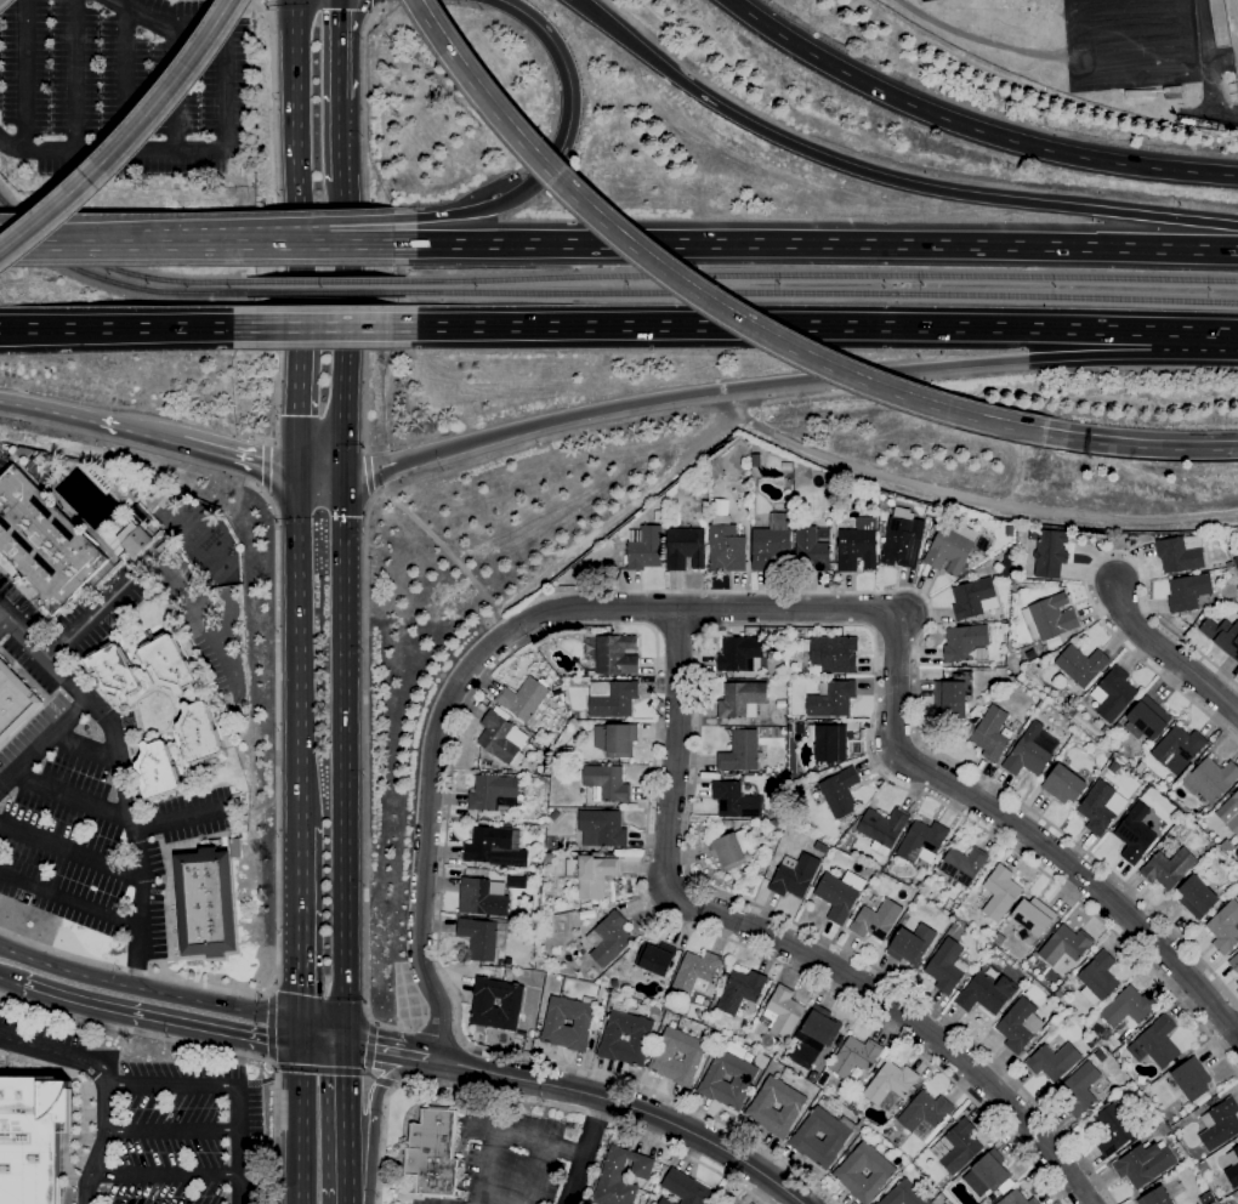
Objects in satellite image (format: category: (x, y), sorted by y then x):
road: (262, 1)
road: (377, 4)
stadium: (1232, 34)
road: (336, 49)
road: (27, 73)
road: (75, 73)
road: (125, 76)
road: (569, 85)
parking lot: (127, 86)
road: (174, 87)
building: (1172, 87)
building: (1188, 120)
road: (971, 127)
road: (296, 132)
road: (130, 138)
road: (336, 138)
road: (225, 144)
road: (884, 177)
traffic signals: (530, 187)
road: (462, 211)
road: (234, 223)
road: (274, 226)
road: (364, 234)
road: (235, 243)
road: (10, 244)
road: (50, 244)
road: (814, 244)
railway: (112, 269)
road: (336, 272)
railway: (816, 276)
railway: (318, 280)
road: (687, 282)
railway: (113, 283)
railway: (318, 291)
railway: (816, 294)
road: (814, 322)
road: (127, 326)
road: (323, 326)
road: (296, 370)
road: (784, 381)
road: (341, 418)
road: (87, 421)
road: (1140, 443)
building: (755, 448)
building: (23, 453)
parking lot: (1, 454)
road: (235, 458)
building: (756, 460)
road: (265, 466)
road: (318, 473)
traffic signals: (341, 473)
road: (369, 473)
traffic signals: (295, 475)
building: (140, 515)
building: (1033, 534)
building: (44, 540)
building: (201, 540)
building: (136, 541)
building: (902, 541)
building: (772, 544)
building: (726, 545)
building: (857, 545)
building: (644, 546)
building: (686, 547)
building: (952, 547)
building: (811, 549)
building: (1050, 552)
building: (1180, 552)
road: (155, 560)
building: (1236, 562)
building: (1007, 566)
road: (1086, 573)
building: (1188, 591)
parking lot: (6, 592)
building: (973, 598)
road: (297, 609)
road: (229, 617)
building: (1050, 617)
road: (6, 619)
road: (569, 625)
road: (703, 631)
building: (782, 634)
building: (1222, 635)
building: (964, 641)
building: (1054, 641)
road: (489, 648)
building: (739, 652)
building: (833, 652)
building: (615, 654)
road: (1169, 654)
building: (167, 664)
building: (1081, 664)
building: (113, 671)
road: (915, 676)
building: (1015, 683)
building: (1113, 693)
building: (953, 695)
building: (523, 698)
building: (612, 698)
building: (831, 698)
building: (742, 699)
building: (13, 700)
building: (782, 703)
building: (1147, 719)
parking lot: (56, 726)
building: (1115, 728)
building: (198, 733)
building: (992, 733)
building: (502, 738)
building: (615, 739)
road: (46, 742)
building: (534, 742)
building: (830, 743)
building: (1179, 749)
building: (567, 750)
building: (740, 750)
building: (1028, 752)
road: (345, 756)
building: (157, 769)
building: (509, 769)
road: (121, 773)
building: (1210, 778)
building: (532, 779)
building: (607, 782)
building: (1064, 784)
road: (301, 786)
road: (365, 790)
building: (840, 791)
building: (494, 793)
road: (75, 796)
building: (737, 799)
building: (1098, 807)
building: (1230, 812)
road: (171, 814)
building: (1200, 816)
building: (602, 828)
building: (882, 828)
road: (1024, 833)
building: (1135, 833)
building: (922, 840)
building: (489, 845)
building: (1227, 845)
road: (68, 847)
building: (731, 848)
parking lot: (93, 853)
building: (549, 857)
building: (961, 864)
building: (1168, 867)
building: (870, 869)
road: (277, 870)
building: (591, 874)
building: (795, 876)
building: (1000, 892)
building: (836, 896)
building: (1197, 896)
building: (483, 897)
road: (72, 899)
building: (205, 902)
building: (1033, 915)
building: (876, 920)
building: (954, 926)
building: (1225, 926)
road: (301, 931)
building: (479, 937)
building: (608, 938)
building: (912, 943)
building: (1064, 944)
road: (785, 948)
building: (655, 956)
building: (1233, 961)
building: (947, 966)
building: (695, 972)
road: (4, 977)
building: (1098, 978)
building: (740, 989)
road: (151, 990)
building: (987, 993)
building: (483, 1003)
building: (1129, 1007)
building: (782, 1012)
road: (153, 1017)
building: (555, 1022)
building: (1020, 1024)
road: (272, 1027)
building: (818, 1028)
traffic signals: (302, 1033)
road: (325, 1035)
building: (640, 1037)
traffic signals: (348, 1039)
building: (1159, 1041)
road: (204, 1045)
road: (369, 1045)
road: (39, 1047)
road: (393, 1047)
building: (854, 1056)
building: (664, 1058)
building: (1054, 1061)
road: (336, 1069)
building: (1192, 1078)
building: (712, 1080)
road: (174, 1084)
building: (890, 1084)
building: (1080, 1089)
road: (530, 1100)
road: (627, 1106)
building: (761, 1109)
road: (376, 1111)
building: (924, 1111)
parking lot: (158, 1118)
road: (301, 1118)
road: (337, 1120)
building: (1220, 1124)
road: (108, 1125)
building: (1113, 1128)
building: (1163, 1128)
road: (172, 1130)
building: (32, 1137)
road: (522, 1138)
building: (803, 1138)
road: (238, 1143)
building: (958, 1146)
road: (573, 1147)
road: (590, 1151)
building: (433, 1153)
parking lot: (516, 1162)
building: (1145, 1163)
building: (1202, 1166)
building: (1232, 1166)
building: (847, 1170)
building: (988, 1172)
road: (165, 1174)
building: (621, 1176)
building: (686, 1187)
building: (904, 1194)
building: (1155, 1197)
building: (1017, 1198)
building: (665, 1202)
building: (986, 1202)
building: (711, 1203)
building: (731, 1203)
building: (734, 1203)

